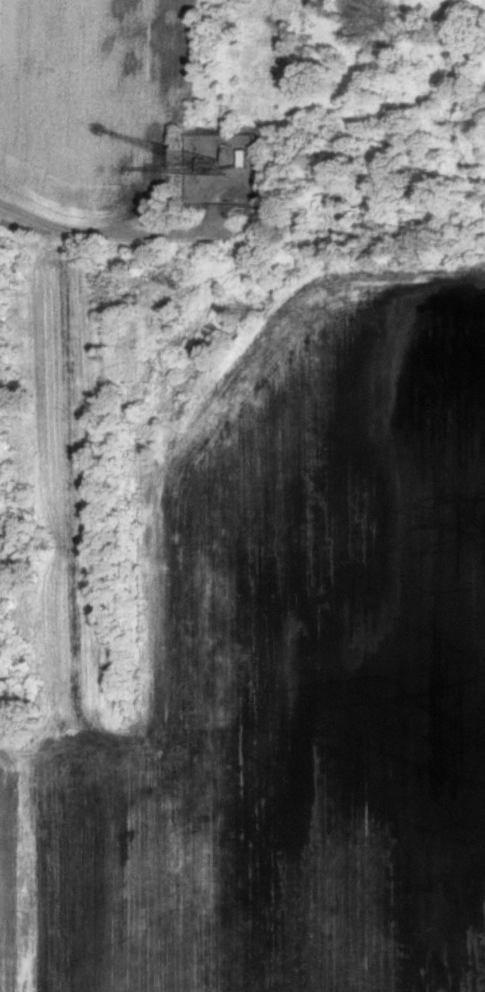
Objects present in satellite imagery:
building: (226, 162)
road: (104, 232)

